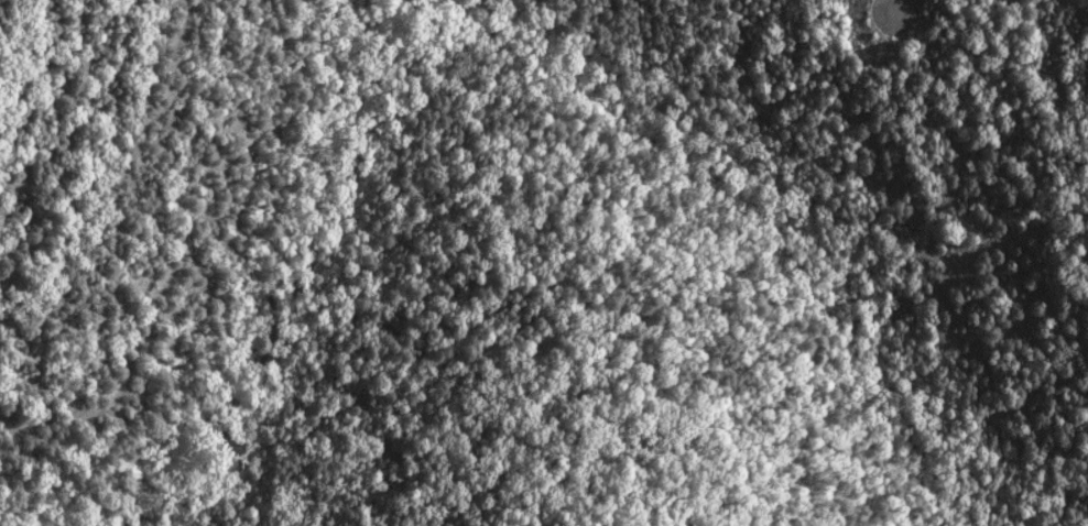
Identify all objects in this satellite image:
road: (894, 3)

